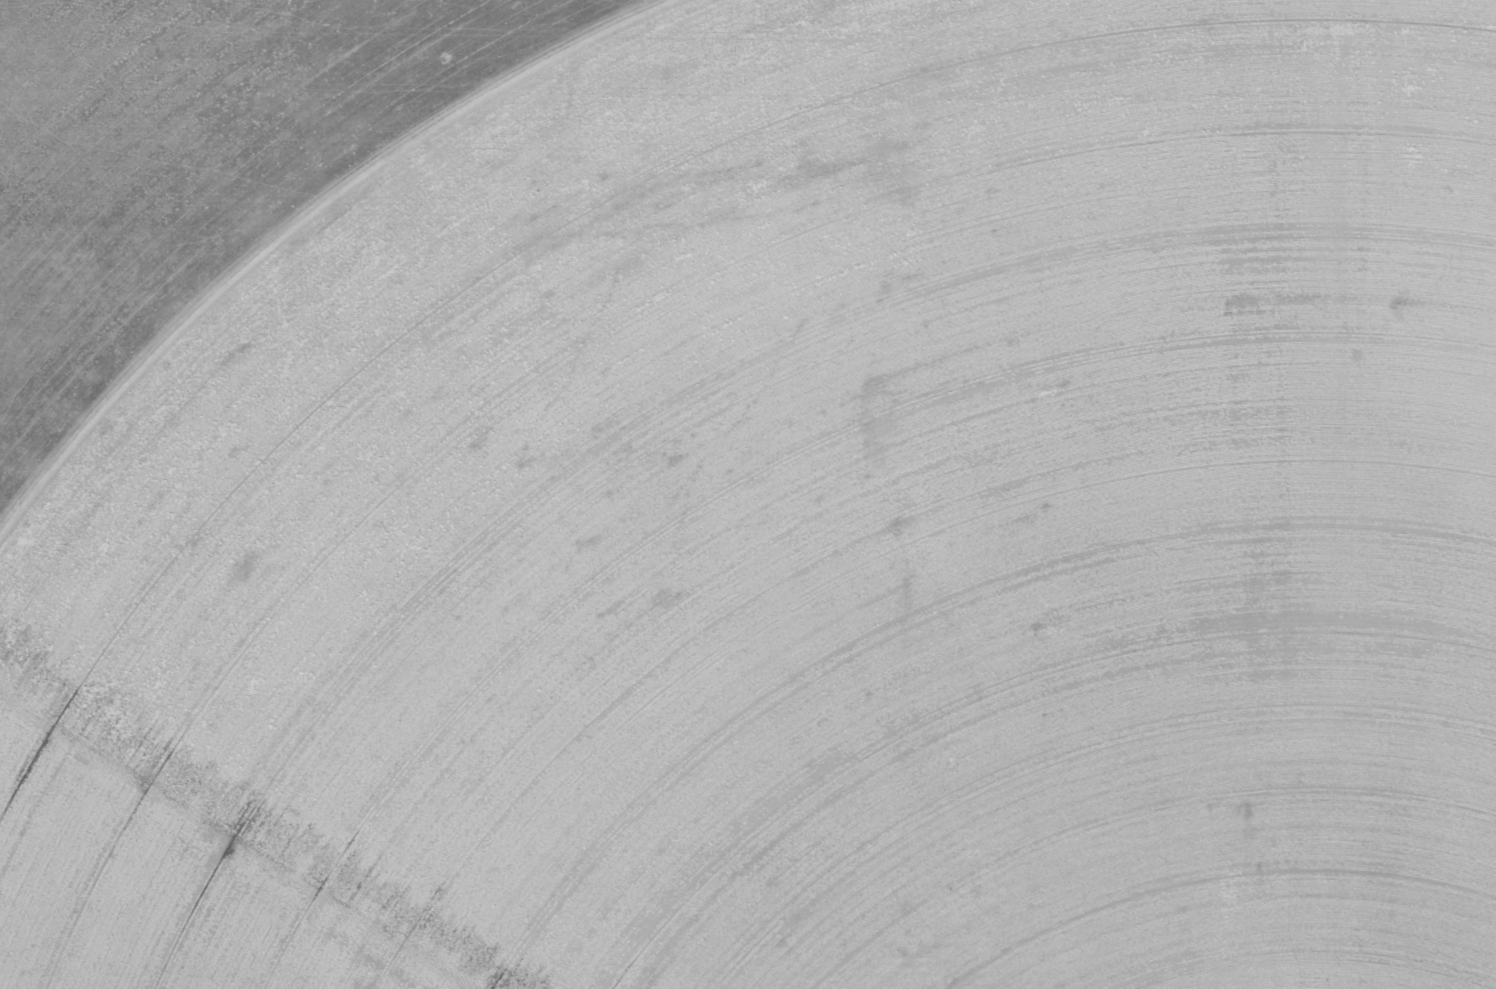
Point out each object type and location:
crop: (748, 494)

